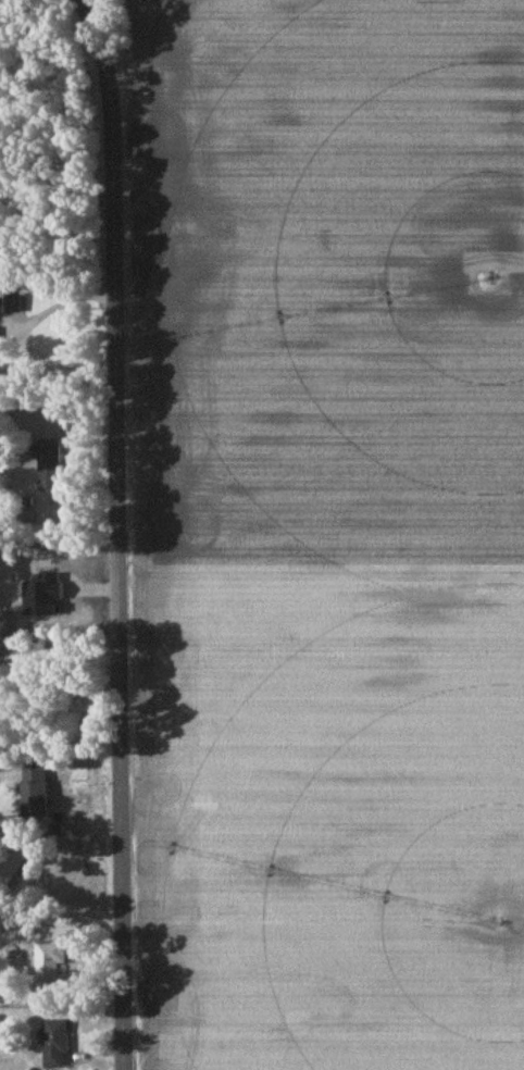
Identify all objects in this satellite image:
road: (49, 190)
building: (5, 300)
road: (17, 335)
building: (50, 464)
road: (116, 532)
building: (37, 792)
building: (15, 859)
building: (50, 968)
building: (57, 1044)

